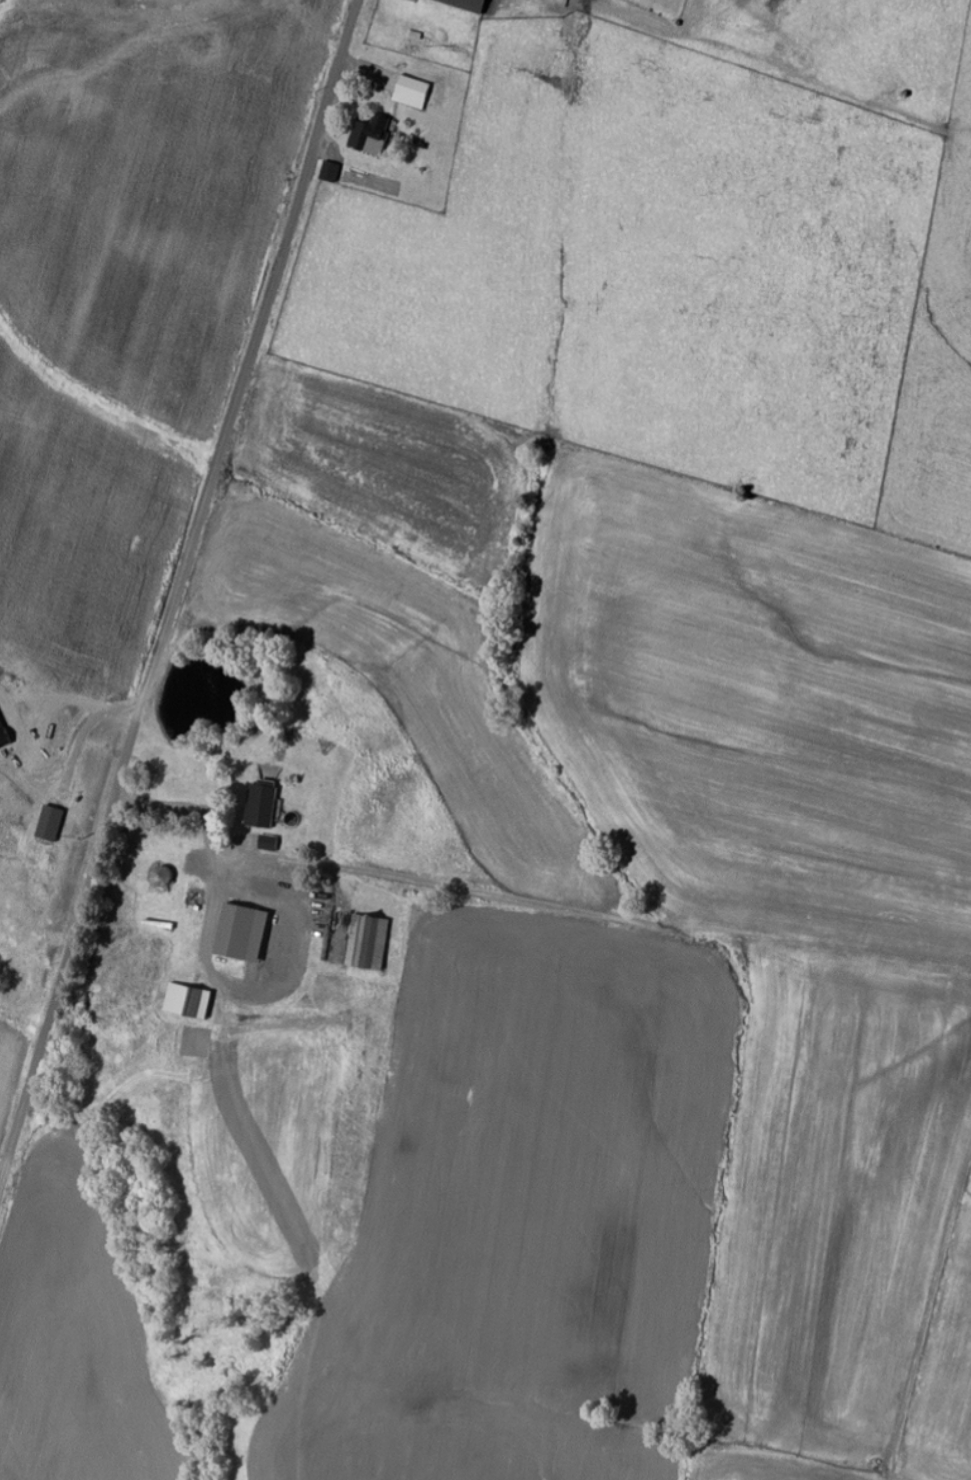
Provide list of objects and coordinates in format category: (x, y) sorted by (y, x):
building: (474, 5)
building: (418, 93)
building: (376, 135)
building: (335, 172)
road: (177, 595)
building: (260, 806)
building: (237, 933)
building: (366, 942)
building: (184, 1001)

